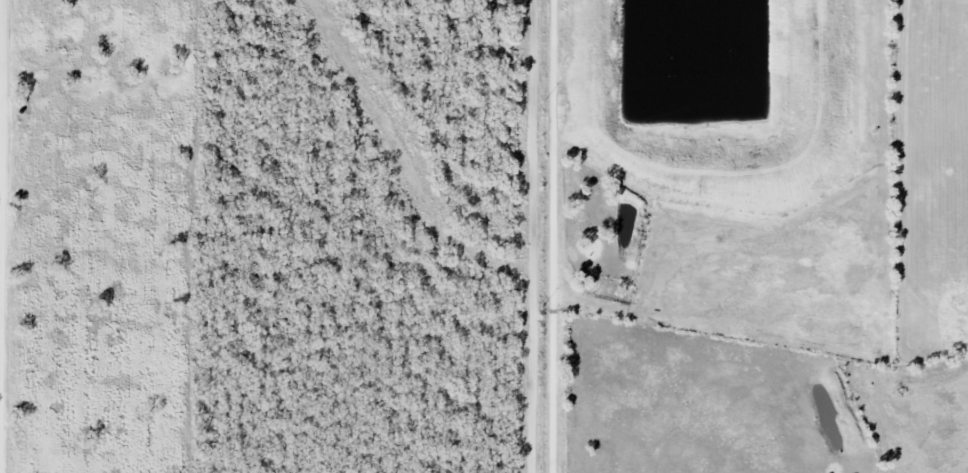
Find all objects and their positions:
road: (553, 236)

